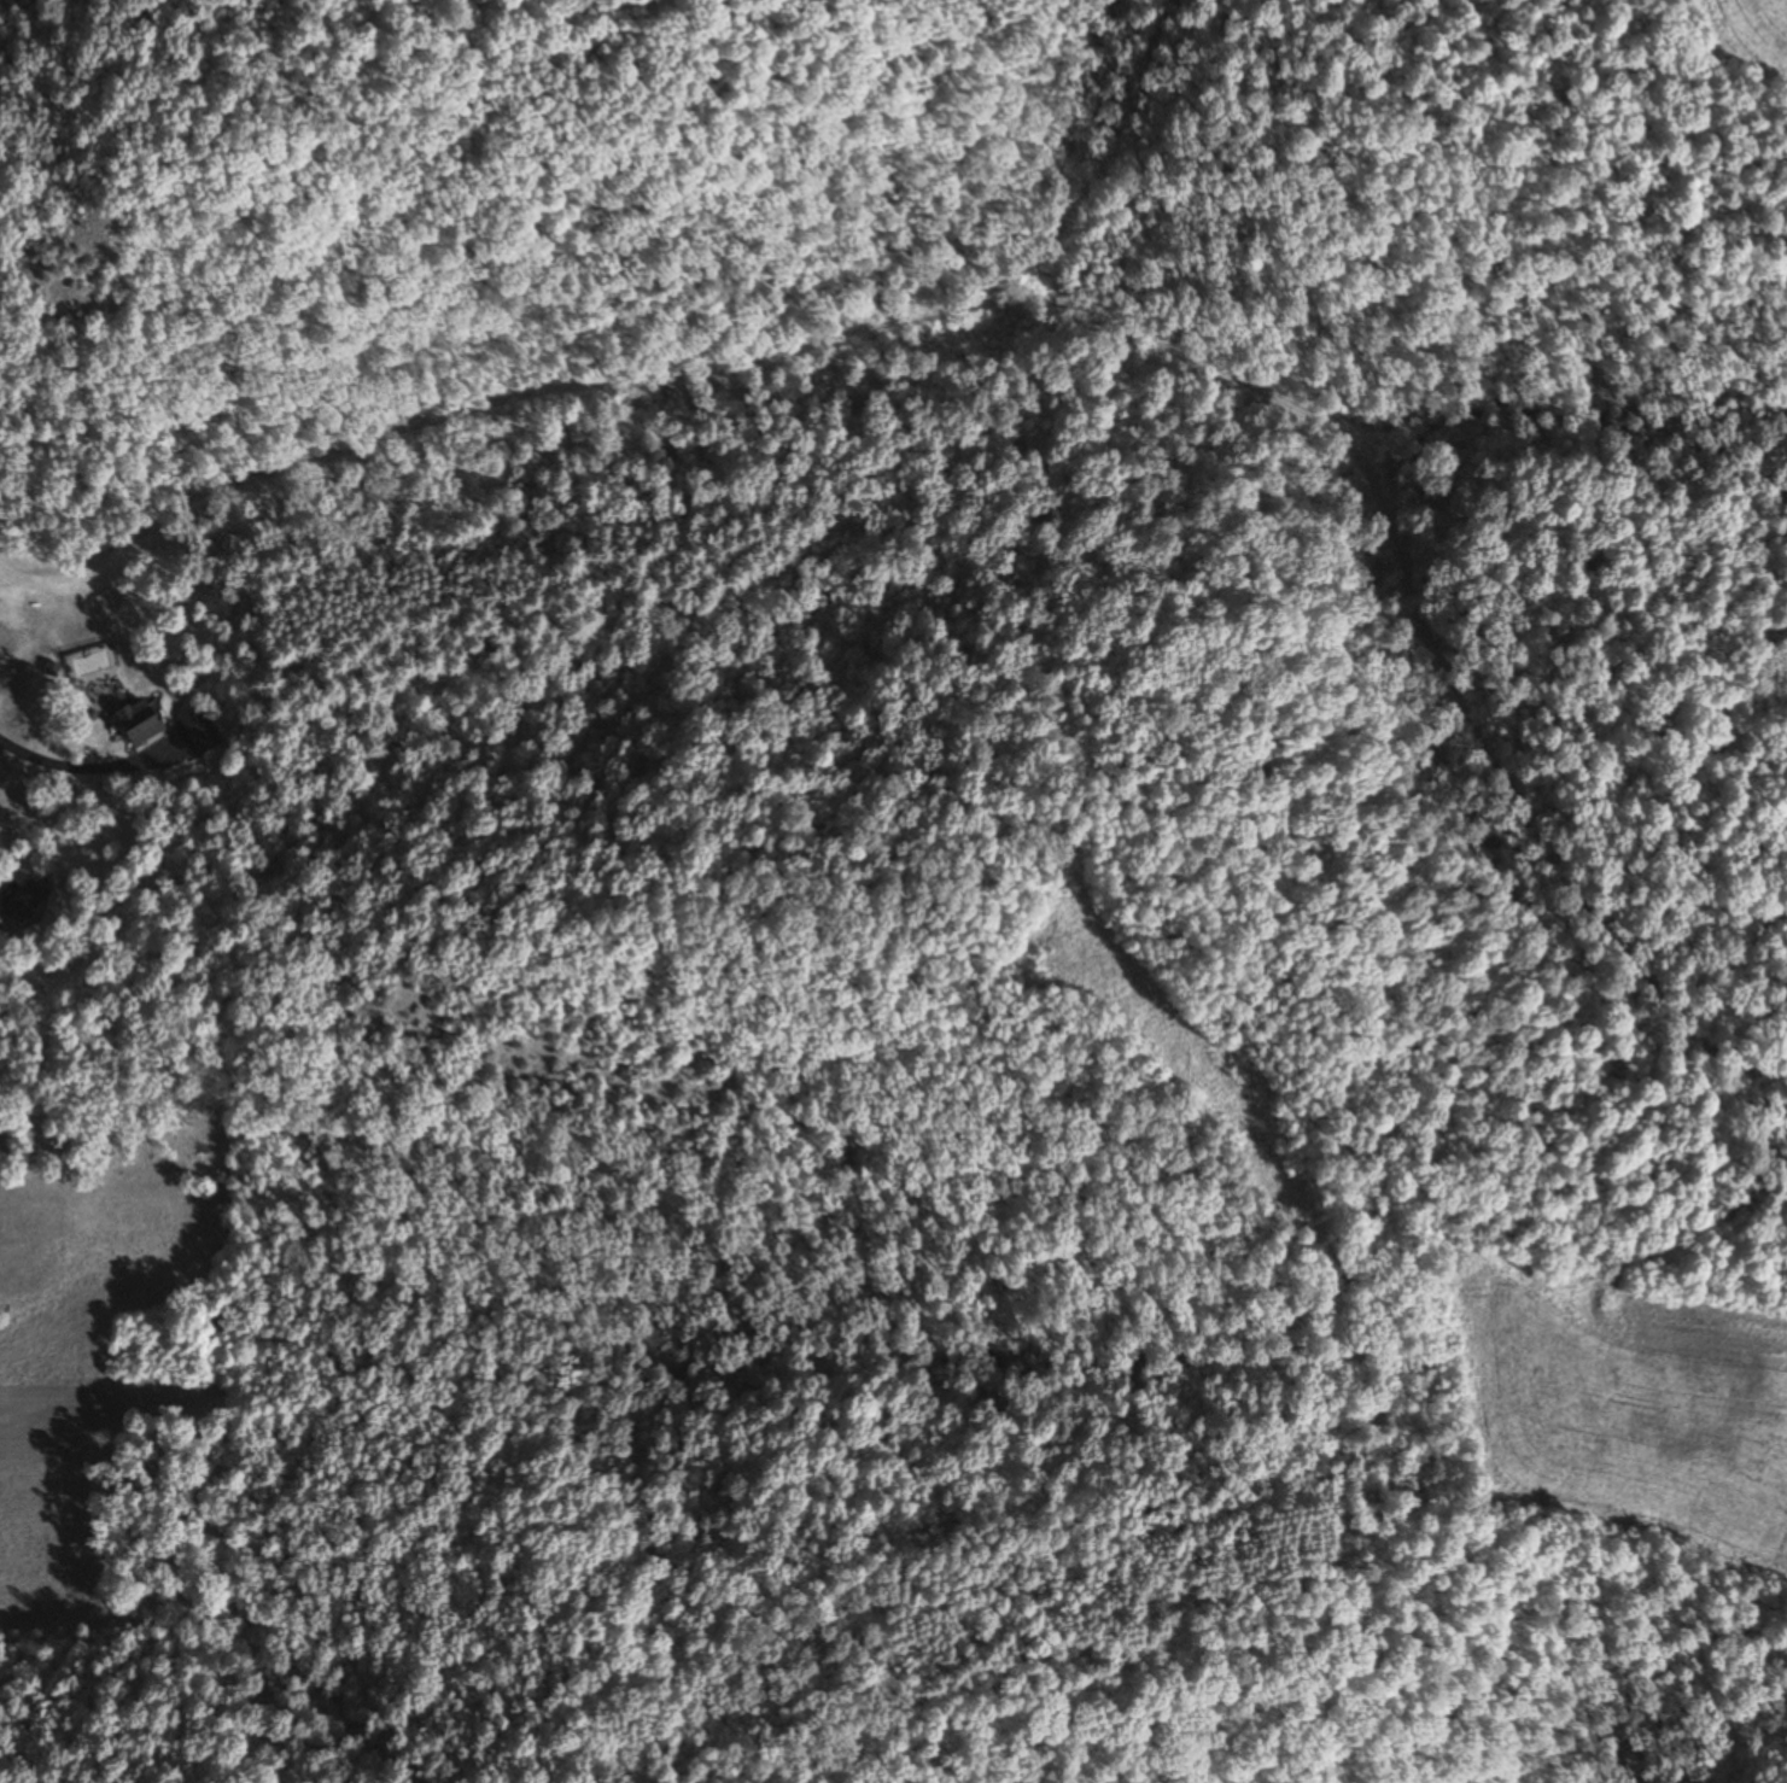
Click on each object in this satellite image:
building: (133, 723)
building: (10, 910)

